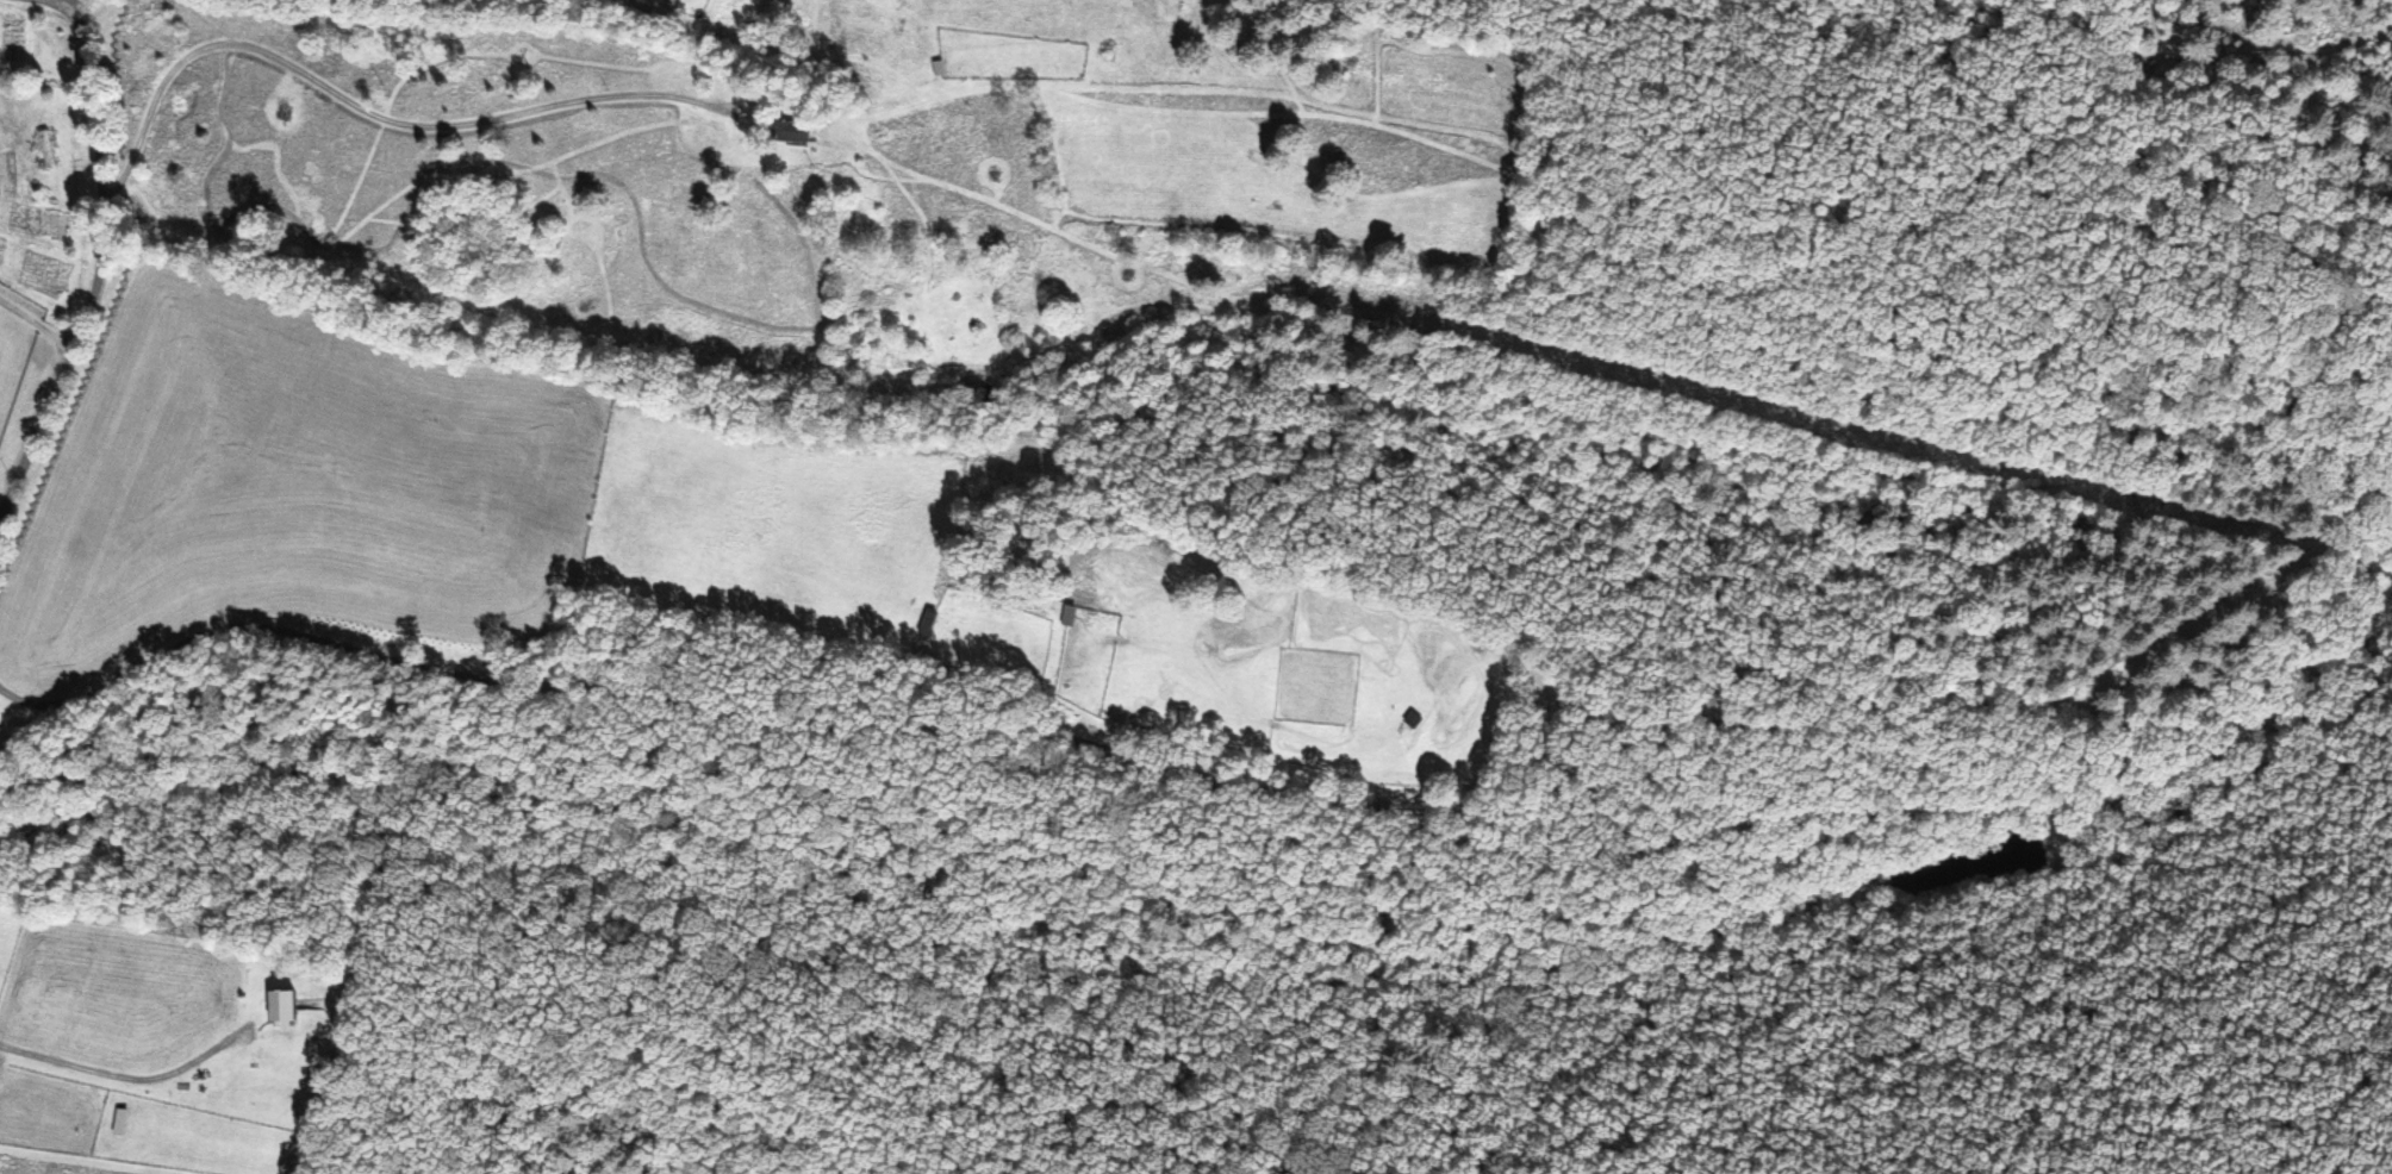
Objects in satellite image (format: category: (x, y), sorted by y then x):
road: (63, 4)
road: (79, 4)
road: (362, 111)
building: (792, 132)
building: (45, 149)
road: (92, 263)
road: (33, 325)
building: (1069, 618)
building: (928, 624)
road: (1208, 776)

